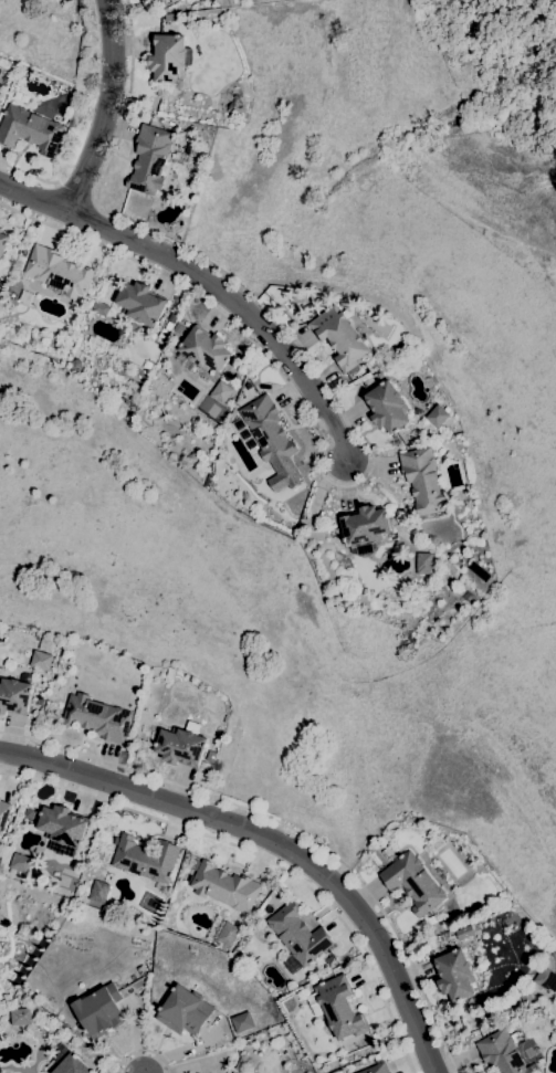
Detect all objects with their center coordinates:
building: (164, 1)
building: (170, 17)
building: (168, 57)
road: (126, 103)
road: (106, 108)
building: (30, 129)
building: (149, 159)
road: (27, 171)
road: (74, 192)
building: (3, 242)
building: (23, 253)
building: (57, 272)
road: (206, 281)
building: (140, 303)
building: (169, 326)
building: (339, 338)
building: (204, 349)
building: (220, 392)
road: (292, 392)
building: (387, 407)
building: (438, 415)
building: (267, 429)
building: (244, 434)
building: (423, 481)
building: (364, 527)
building: (331, 533)
building: (422, 562)
building: (46, 646)
building: (40, 660)
building: (171, 673)
building: (14, 695)
building: (40, 702)
building: (96, 717)
building: (181, 745)
building: (211, 757)
building: (3, 814)
building: (62, 829)
road: (287, 829)
building: (438, 844)
road: (272, 848)
road: (259, 856)
building: (146, 859)
building: (20, 862)
building: (413, 882)
building: (224, 886)
building: (98, 891)
building: (431, 919)
building: (513, 923)
building: (464, 932)
building: (227, 933)
building: (298, 934)
building: (329, 959)
building: (140, 970)
building: (454, 975)
building: (545, 978)
building: (525, 995)
building: (337, 1007)
building: (99, 1011)
building: (185, 1011)
building: (20, 1017)
building: (242, 1022)
building: (516, 1037)
building: (246, 1042)
building: (277, 1042)
road: (143, 1050)
building: (503, 1053)
building: (66, 1062)
building: (377, 1069)

